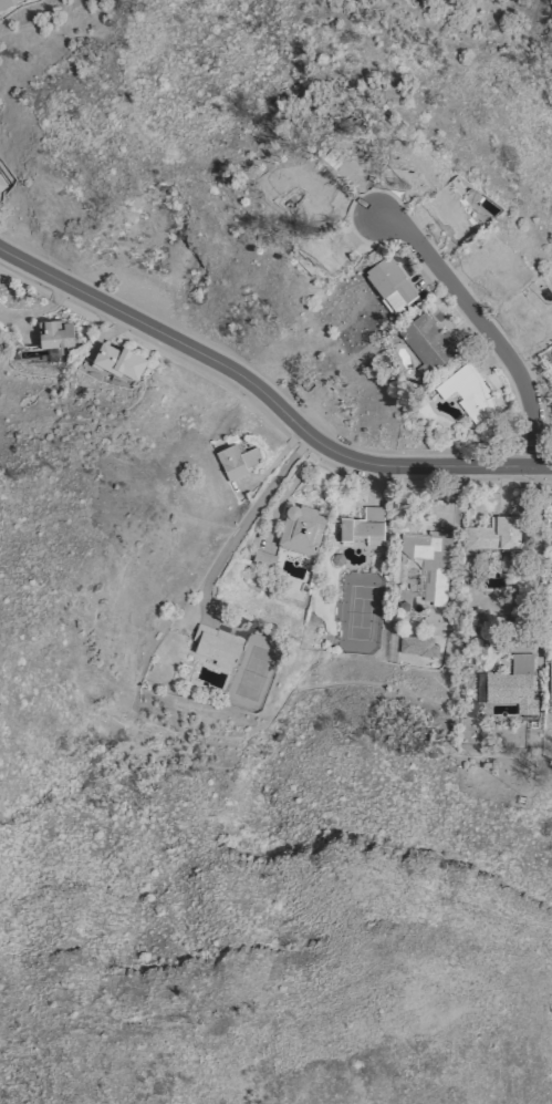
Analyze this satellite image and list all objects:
building: (8, 2)
building: (352, 154)
building: (409, 164)
building: (292, 182)
building: (1, 185)
building: (310, 208)
building: (451, 211)
building: (321, 254)
building: (494, 267)
building: (533, 314)
road: (483, 324)
building: (55, 334)
building: (428, 342)
building: (118, 361)
building: (468, 394)
road: (268, 396)
building: (237, 461)
road: (246, 518)
building: (364, 527)
building: (301, 529)
building: (494, 534)
building: (263, 559)
building: (429, 563)
road: (534, 567)
building: (216, 646)
building: (550, 679)
building: (512, 684)

